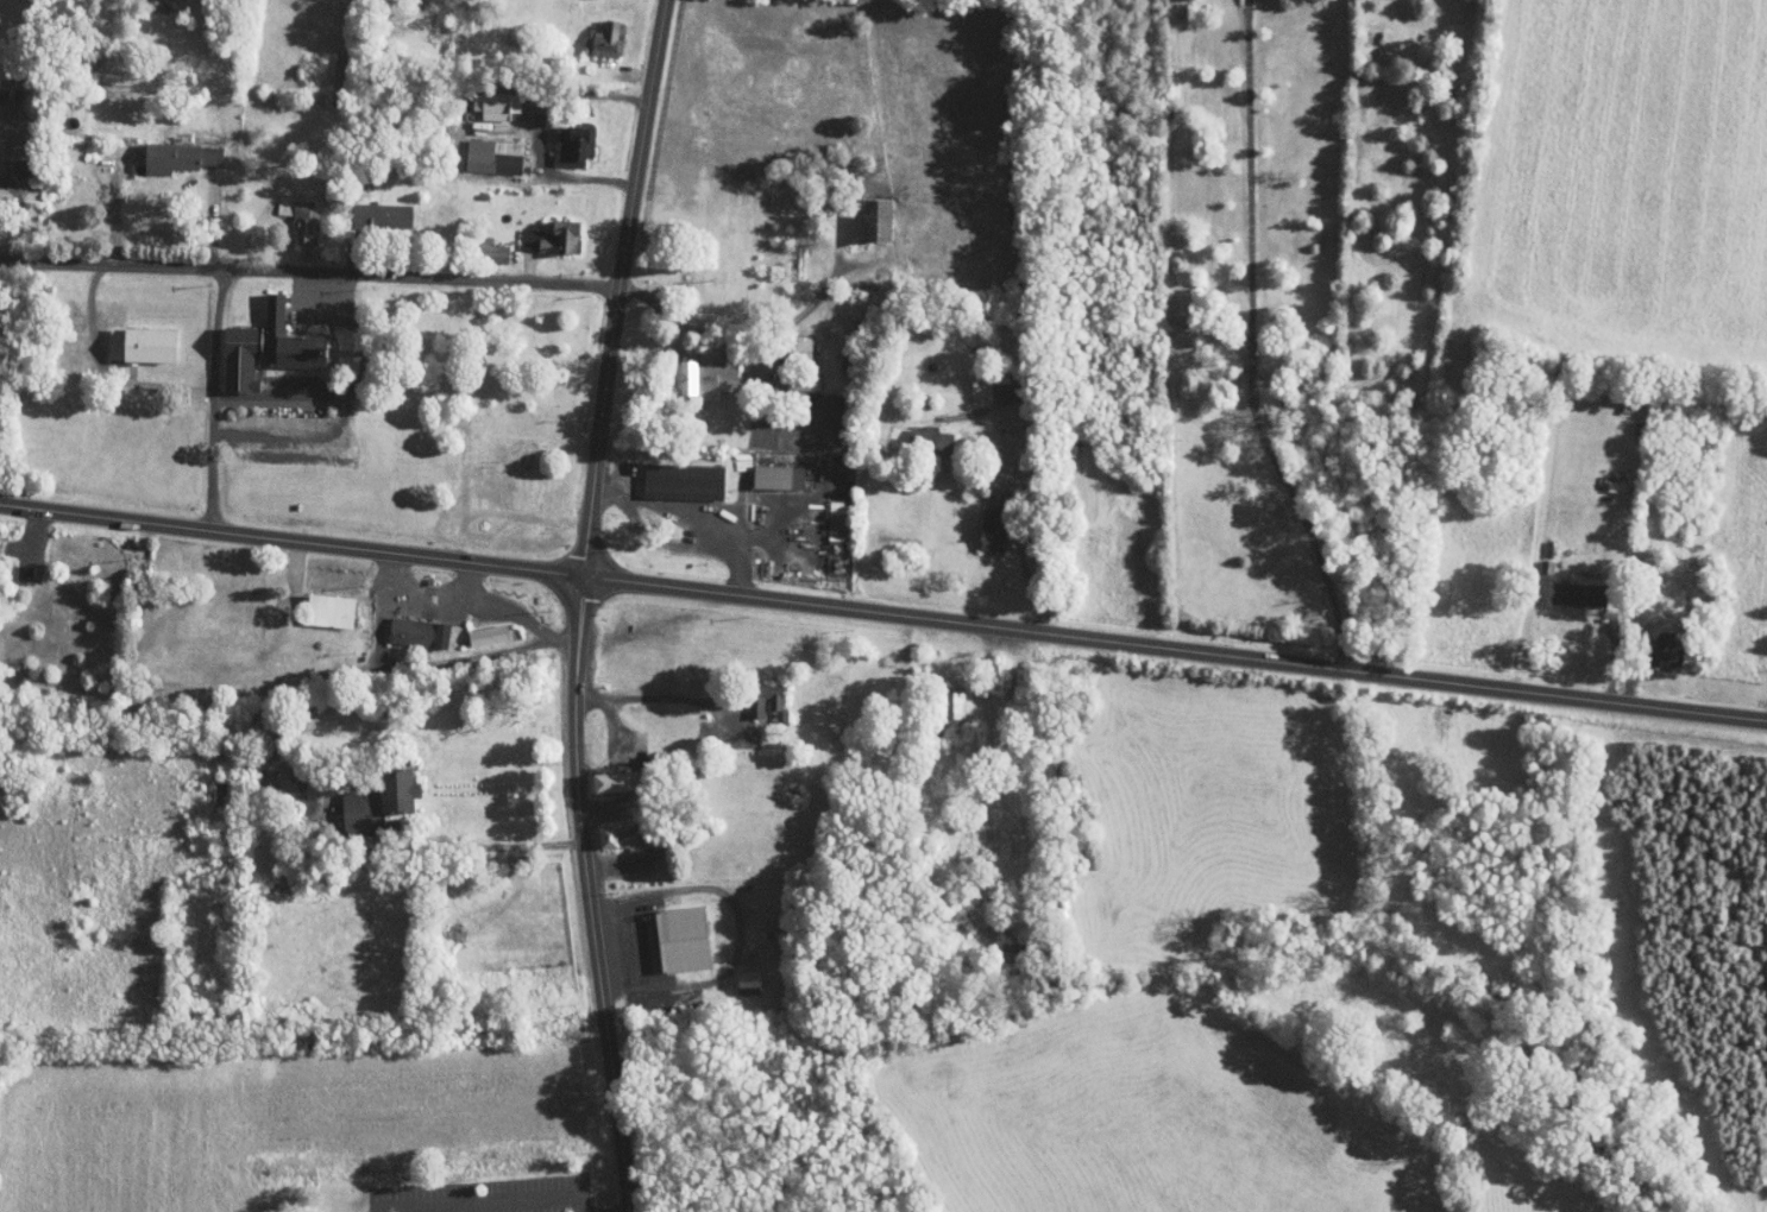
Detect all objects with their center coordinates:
building: (591, 31)
road: (633, 56)
road: (540, 133)
building: (166, 149)
building: (480, 149)
building: (10, 160)
road: (117, 207)
building: (369, 208)
building: (288, 209)
building: (864, 210)
road: (212, 219)
road: (14, 220)
building: (554, 227)
building: (526, 229)
road: (353, 254)
road: (309, 271)
road: (92, 291)
building: (841, 295)
building: (275, 330)
road: (757, 333)
road: (360, 335)
building: (128, 336)
building: (787, 341)
road: (1252, 343)
building: (227, 349)
building: (693, 371)
building: (973, 374)
road: (282, 391)
road: (219, 399)
building: (918, 433)
road: (298, 436)
building: (729, 456)
building: (765, 469)
building: (671, 473)
road: (696, 515)
building: (980, 523)
road: (1024, 568)
building: (1567, 586)
road: (411, 589)
building: (317, 602)
road: (580, 604)
road: (508, 610)
road: (882, 612)
building: (405, 625)
building: (474, 627)
building: (1656, 642)
building: (985, 668)
building: (755, 694)
road: (662, 696)
building: (941, 699)
building: (253, 774)
building: (599, 774)
road: (994, 782)
road: (597, 793)
building: (365, 795)
building: (605, 829)
road: (502, 840)
building: (669, 932)
road: (639, 941)
building: (735, 972)
road: (472, 1194)
road: (572, 1211)
road: (578, 1211)

